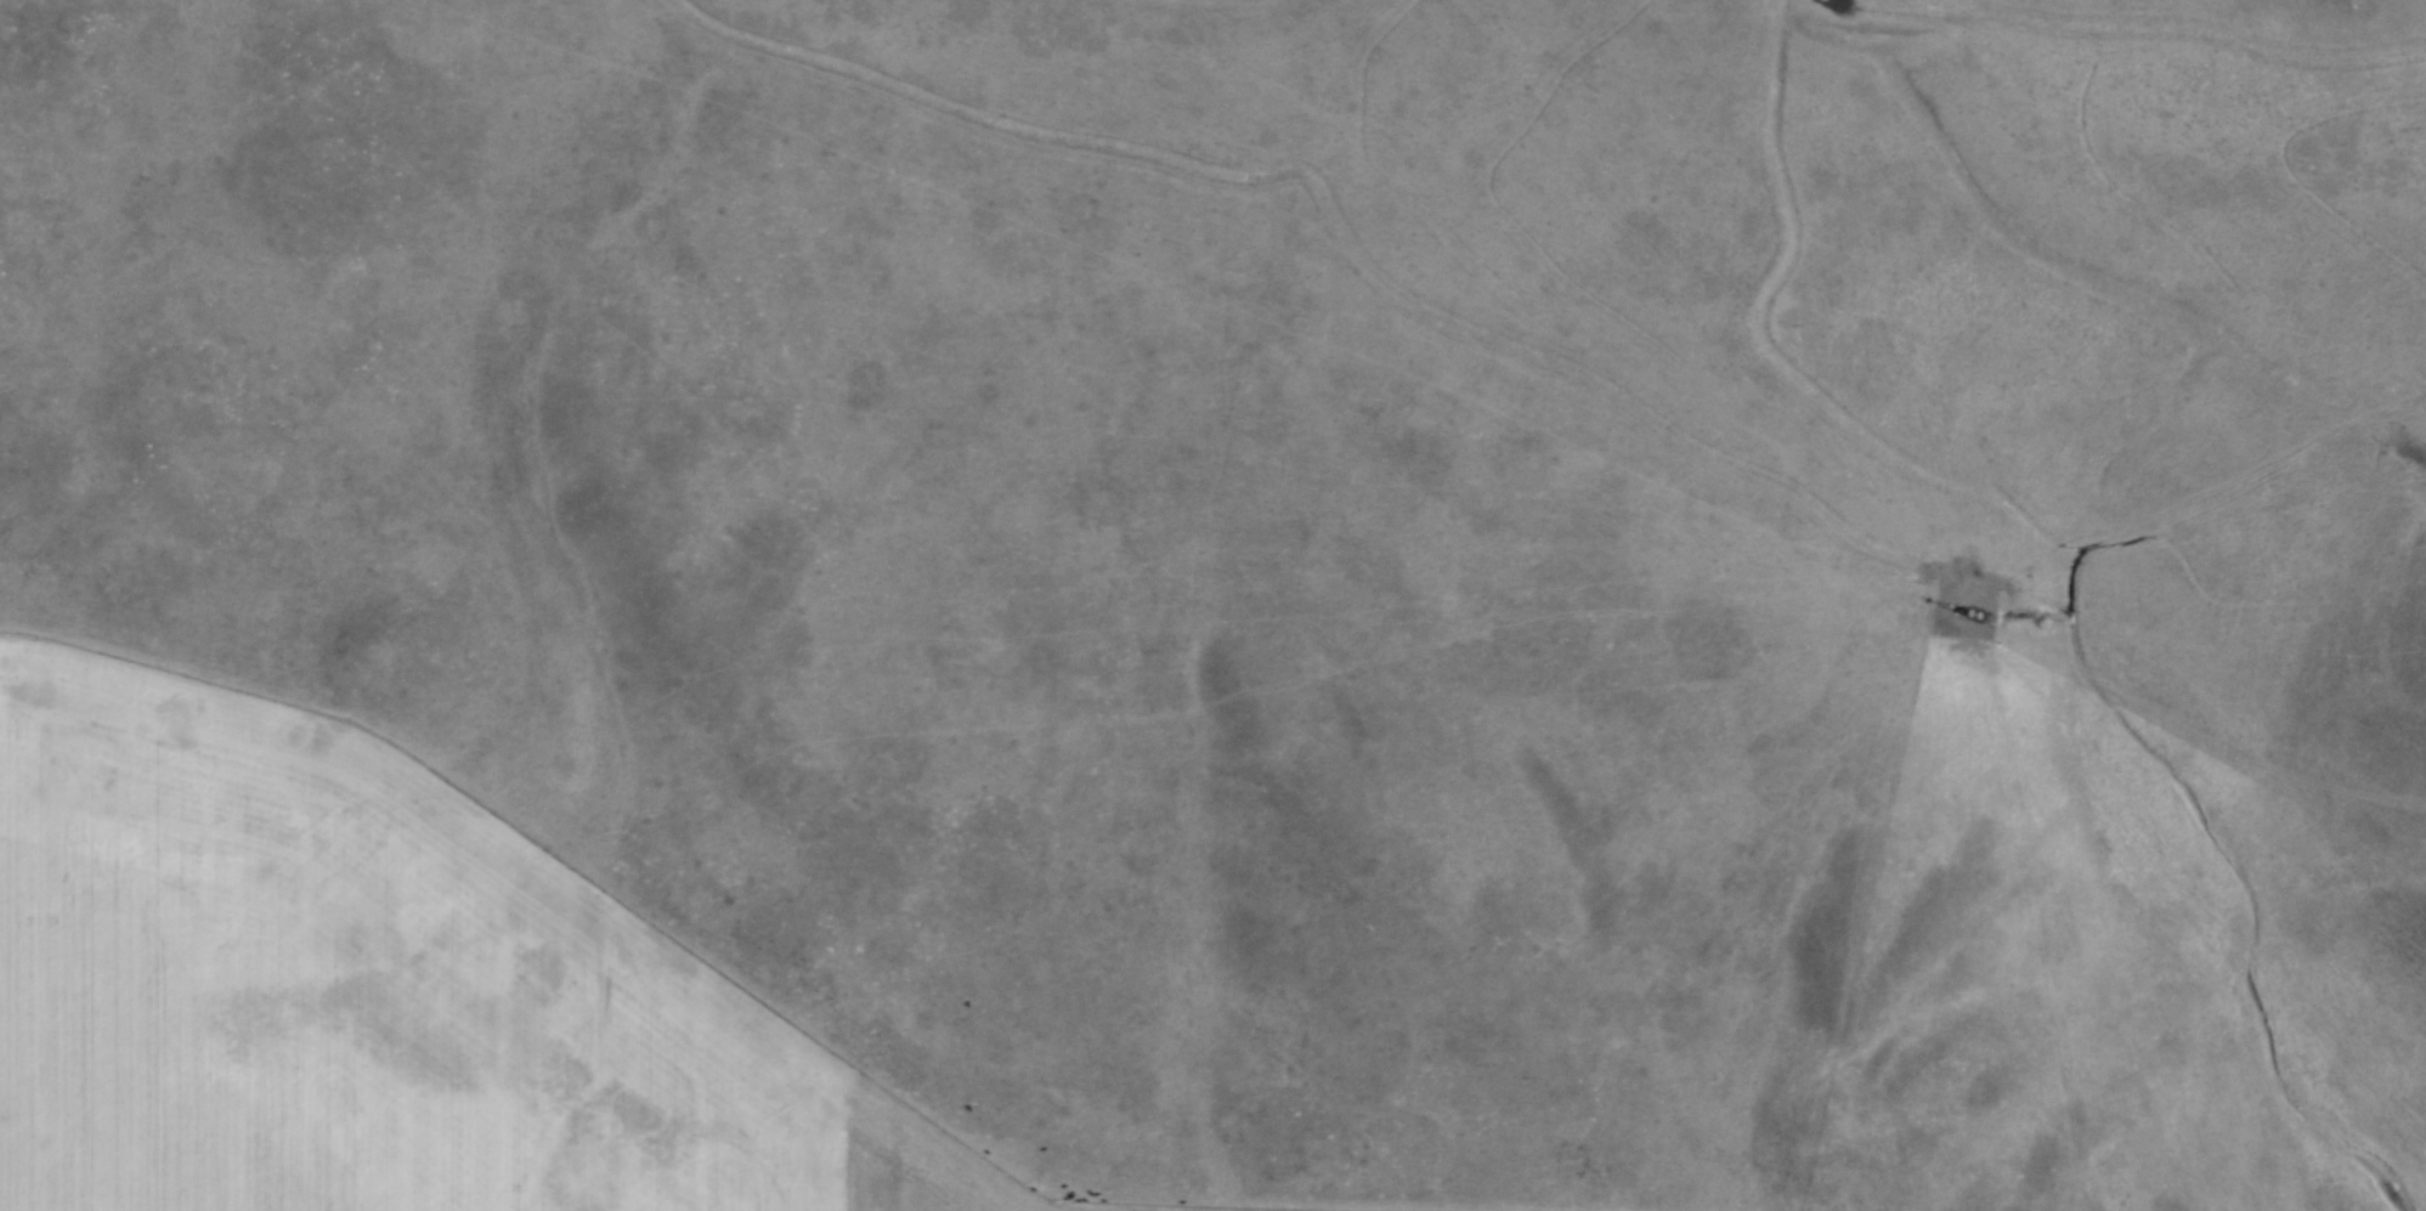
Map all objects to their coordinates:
crop: (368, 996)

